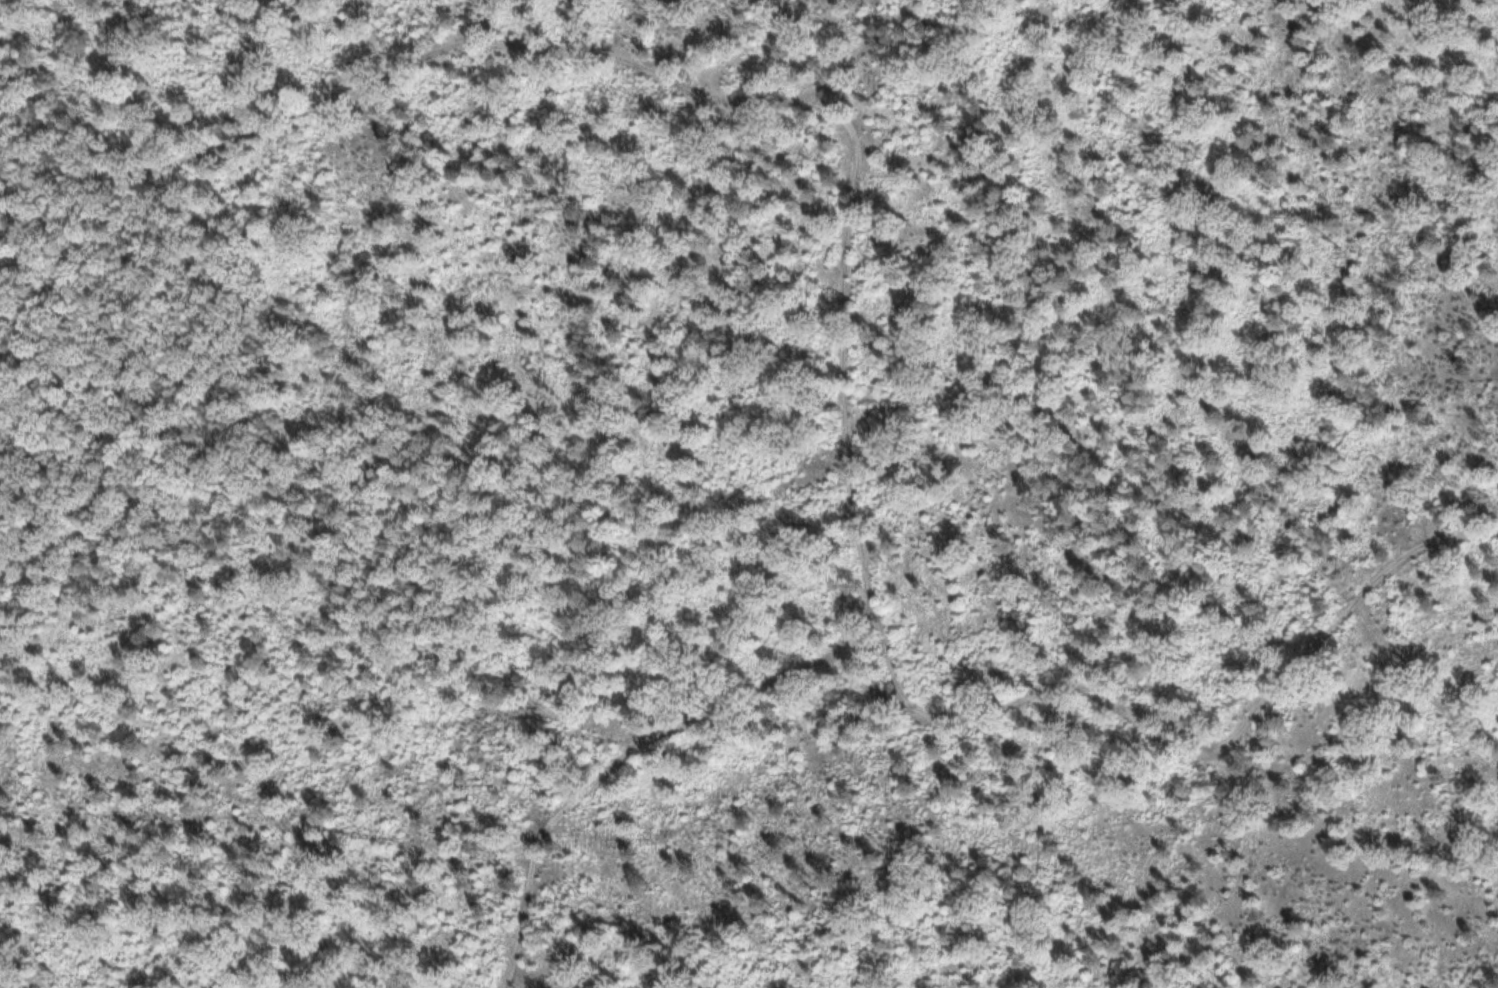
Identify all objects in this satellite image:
road: (432, 52)
road: (978, 113)
road: (849, 410)
road: (896, 661)
road: (1430, 690)
road: (966, 714)

